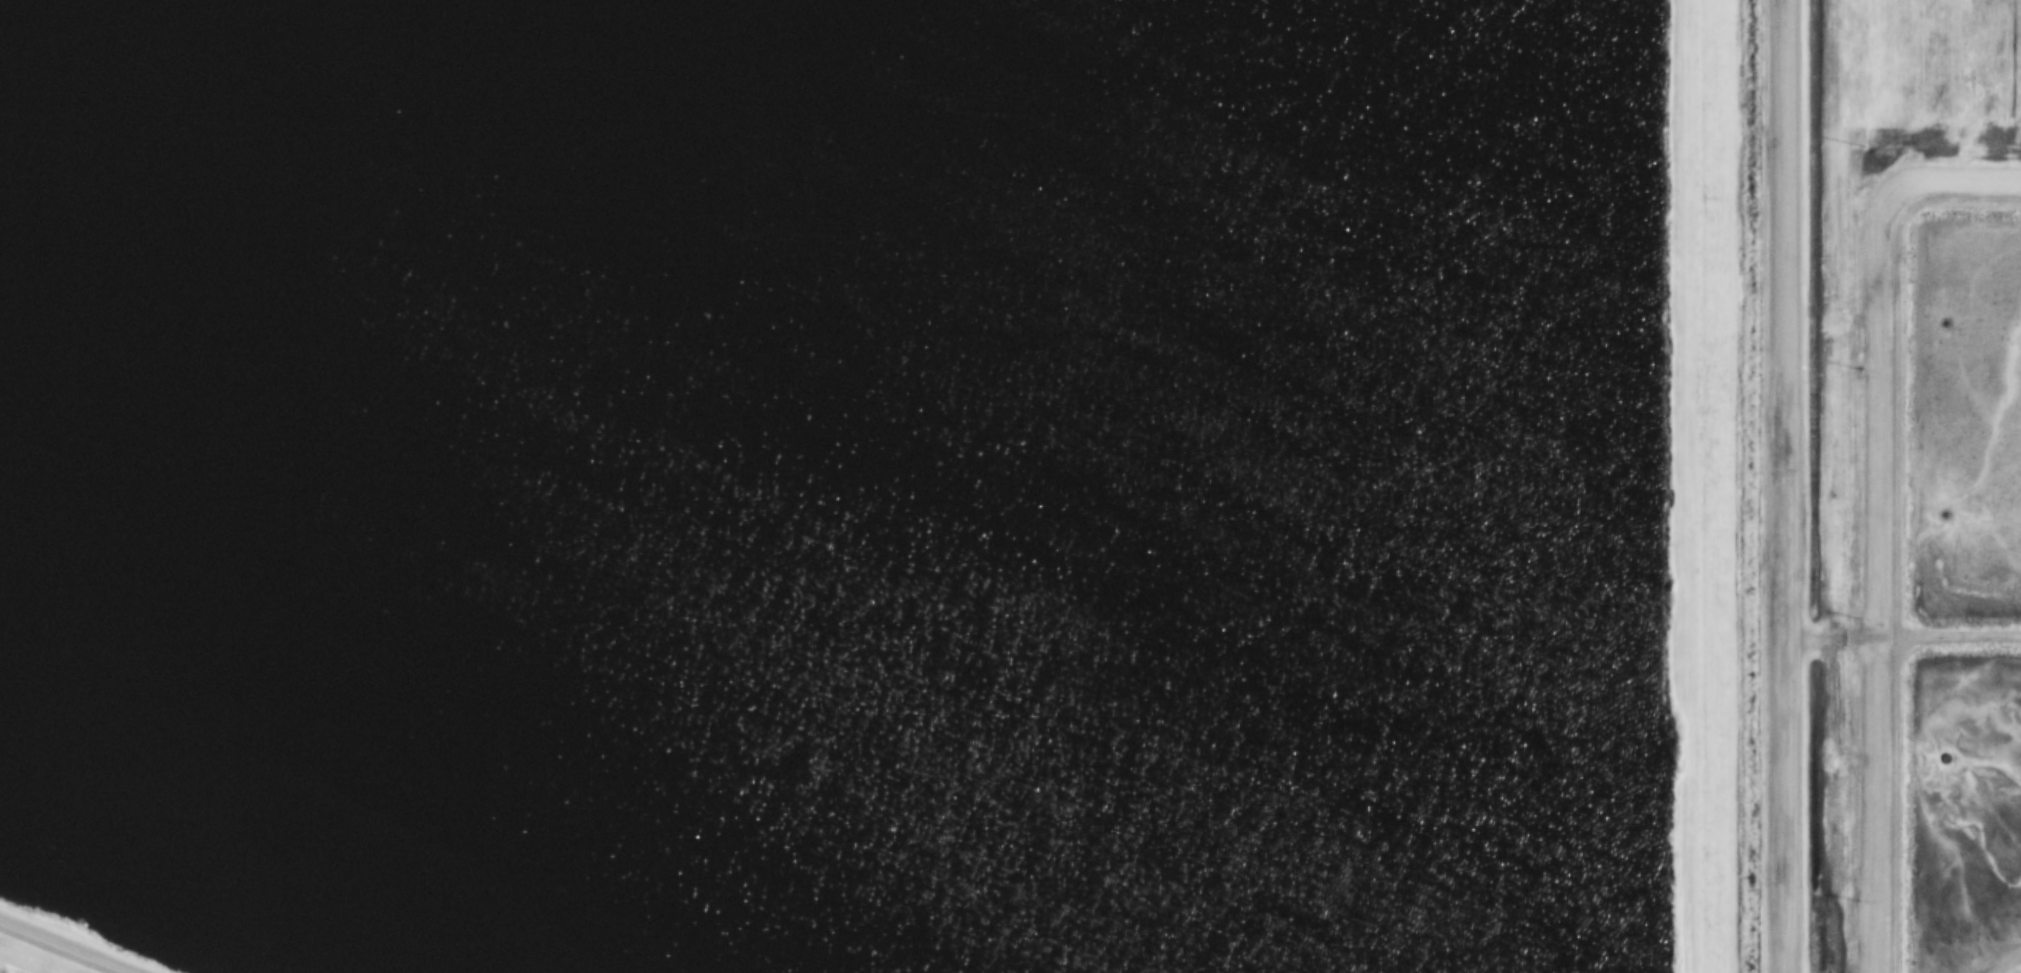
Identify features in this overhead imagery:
road: (1783, 486)
road: (63, 948)

